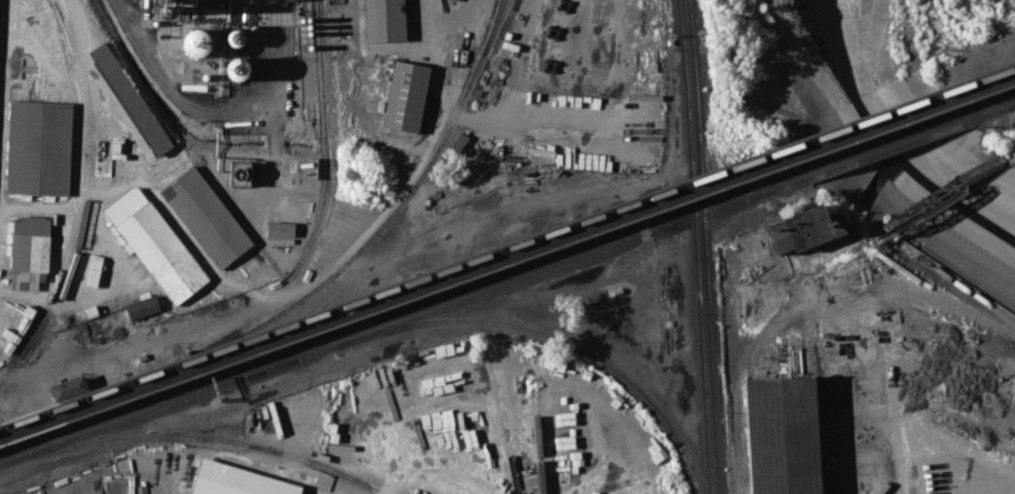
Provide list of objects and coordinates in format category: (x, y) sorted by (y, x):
building: (389, 20)
railway: (493, 30)
building: (196, 42)
building: (406, 95)
building: (134, 100)
railway: (992, 102)
railway: (1012, 105)
road: (209, 109)
railway: (993, 111)
railway: (327, 137)
railway: (885, 140)
building: (459, 141)
river: (889, 143)
building: (39, 147)
railway: (888, 149)
railway: (434, 156)
railway: (1009, 156)
building: (244, 174)
railway: (81, 199)
railway: (934, 199)
railway: (88, 203)
building: (202, 209)
building: (282, 228)
building: (805, 236)
building: (156, 243)
railway: (695, 246)
railway: (703, 246)
railway: (507, 247)
building: (29, 250)
railway: (507, 258)
building: (752, 299)
railway: (775, 299)
railway: (950, 303)
building: (141, 308)
railway: (400, 312)
railway: (402, 321)
railway: (554, 338)
railway: (219, 341)
railway: (165, 376)
building: (70, 386)
railway: (505, 422)
building: (783, 434)
railway: (194, 437)
railway: (538, 442)
building: (240, 481)
building: (99, 482)

